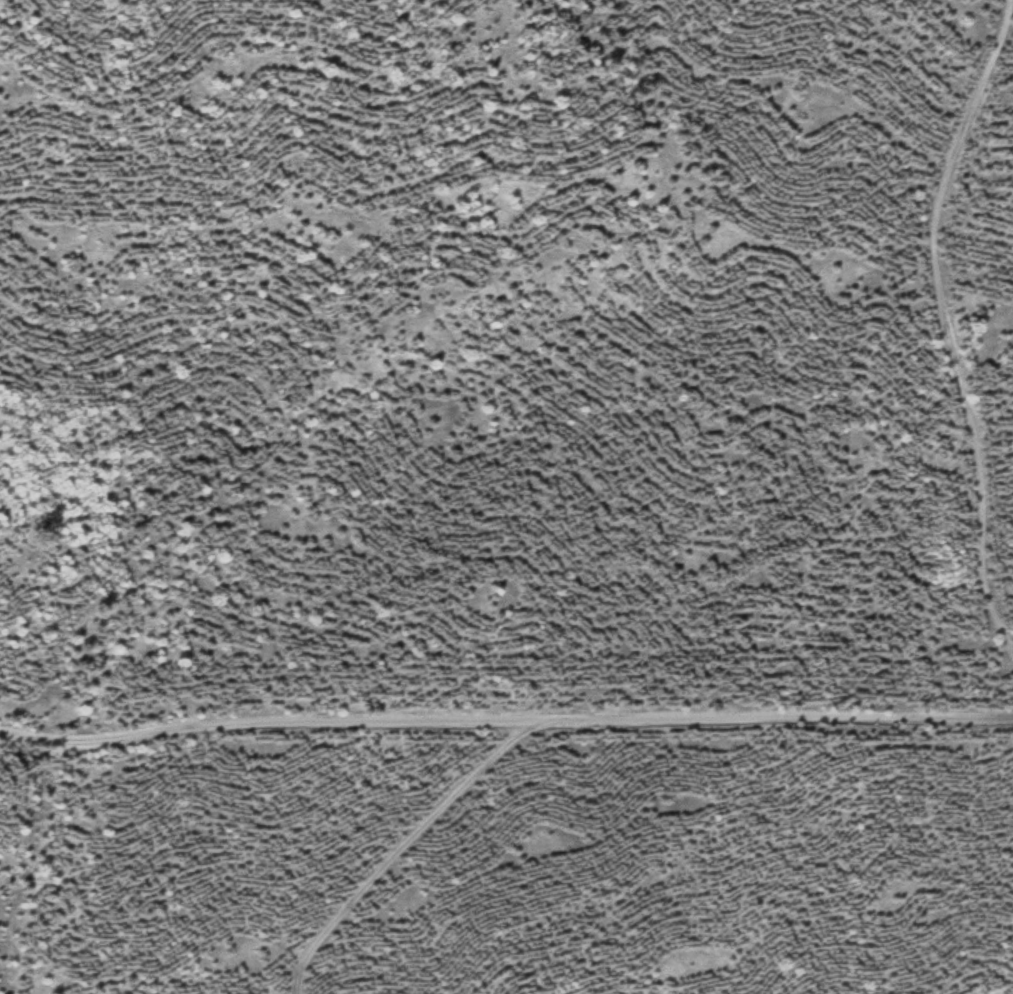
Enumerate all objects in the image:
road: (948, 319)
road: (505, 717)
road: (410, 851)
road: (295, 982)

